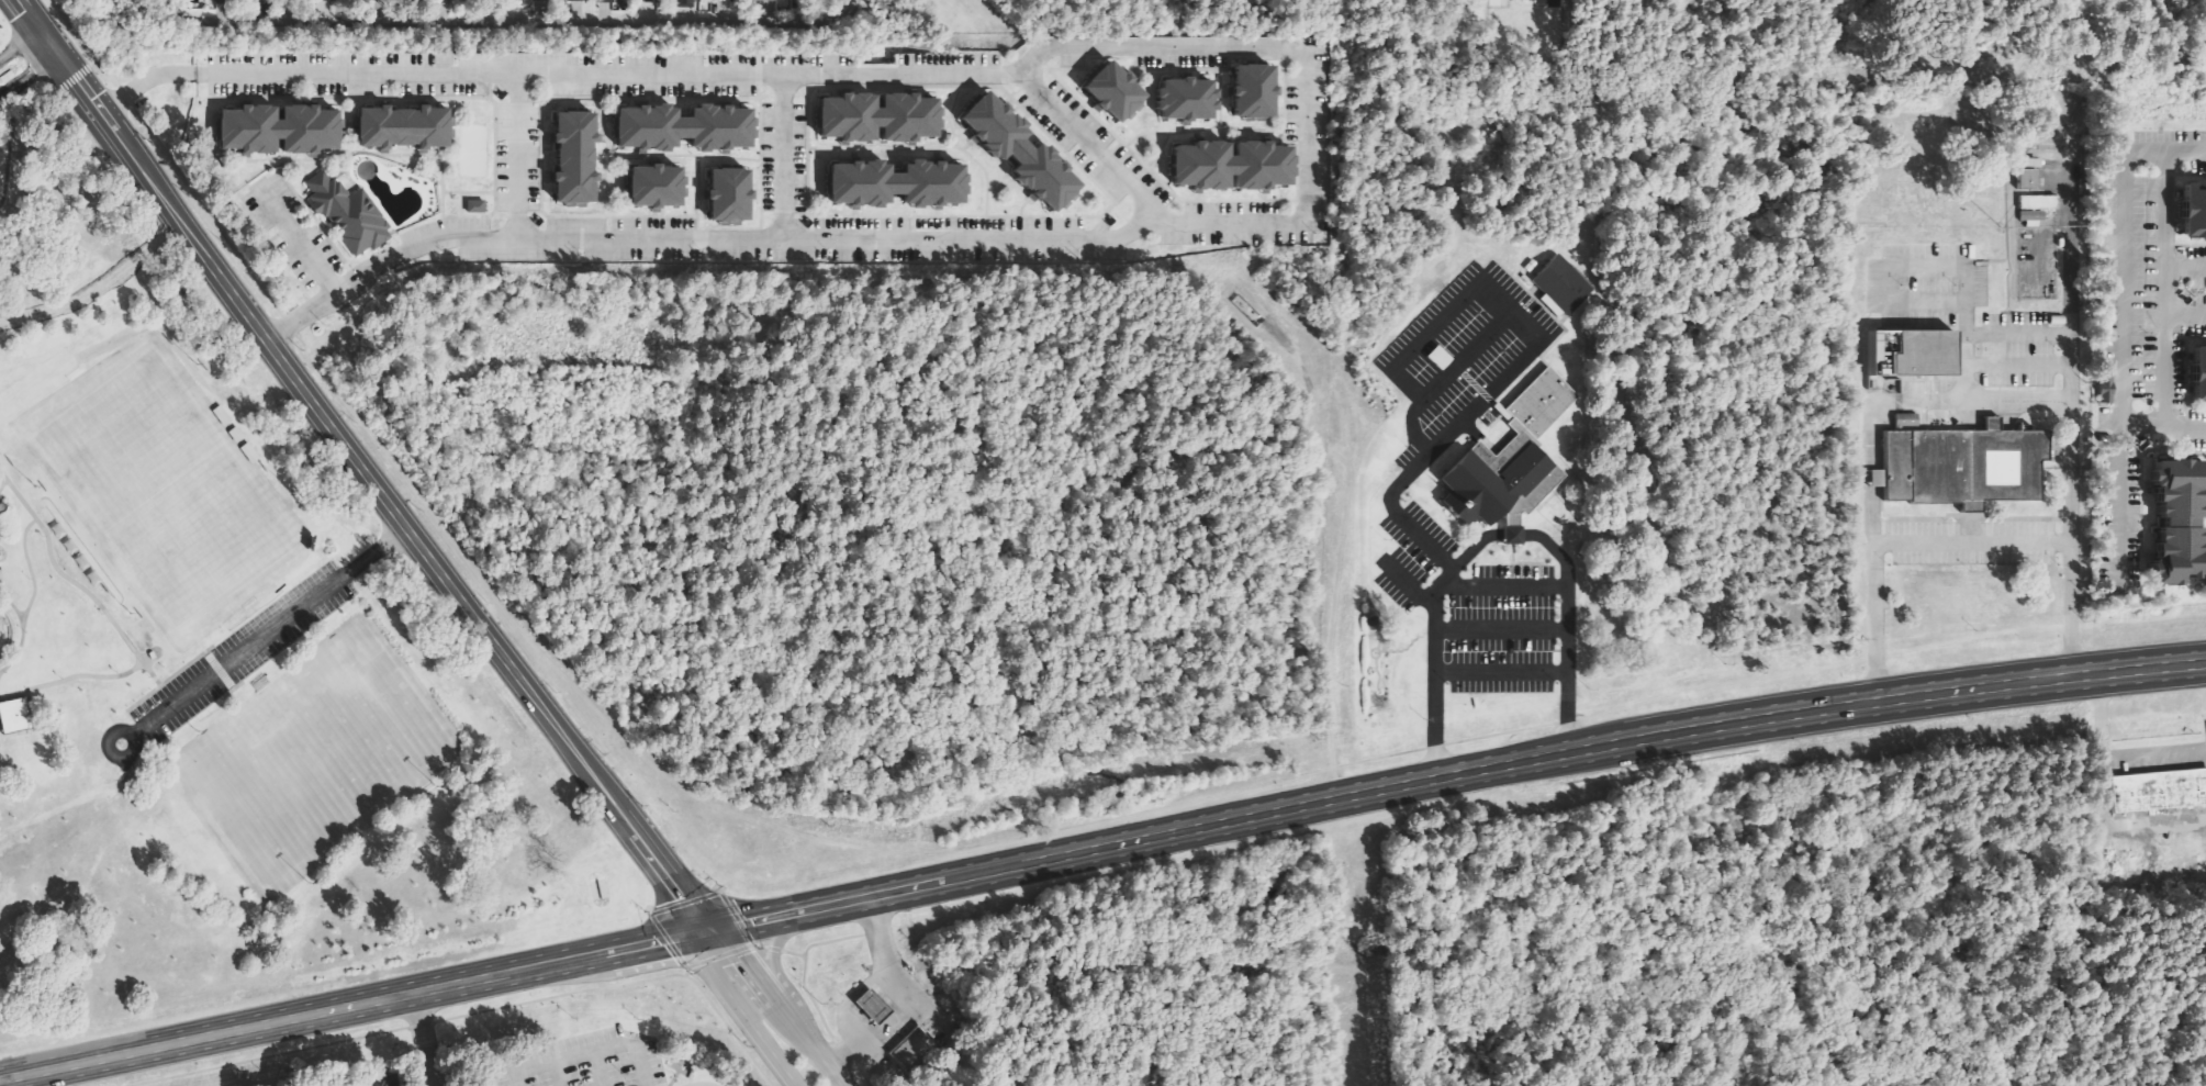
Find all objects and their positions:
building: (219, 0)
building: (332, 0)
building: (534, 0)
building: (579, 0)
building: (652, 0)
building: (607, 1)
building: (687, 3)
traffic signals: (26, 12)
road: (508, 22)
road: (20, 43)
parking lot: (1143, 51)
parking lot: (873, 69)
road: (105, 72)
road: (1010, 72)
road: (29, 74)
parking lot: (625, 74)
traffic signals: (29, 75)
parking lot: (344, 75)
road: (70, 79)
road: (141, 81)
road: (30, 87)
building: (1108, 91)
building: (1248, 91)
traffic signals: (91, 99)
building: (1180, 100)
building: (874, 117)
building: (399, 128)
building: (681, 128)
building: (273, 131)
parking lot: (1306, 134)
parking lot: (1090, 148)
building: (1015, 153)
road: (514, 156)
parking lot: (514, 157)
road: (780, 157)
building: (569, 158)
parking lot: (780, 158)
building: (2033, 164)
building: (1227, 167)
building: (2029, 180)
building: (893, 183)
building: (650, 188)
building: (724, 195)
building: (477, 206)
building: (2037, 209)
building: (2196, 210)
building: (344, 215)
helipad: (1927, 222)
parking lot: (1227, 226)
parking lot: (287, 231)
road: (292, 238)
road: (753, 238)
parking lot: (469, 240)
parking lot: (641, 240)
parking lot: (942, 240)
building: (1564, 287)
road: (2157, 289)
road: (310, 309)
building: (1908, 355)
building: (2199, 372)
building: (2106, 390)
road: (2070, 396)
road: (1457, 423)
building: (1513, 463)
building: (1962, 463)
road: (1872, 467)
road: (365, 473)
road: (0, 481)
park: (160, 486)
building: (0, 507)
building: (2181, 523)
road: (1491, 537)
road: (1959, 540)
road: (71, 584)
road: (30, 595)
road: (11, 608)
road: (267, 631)
parking lot: (237, 653)
road: (67, 678)
building: (13, 715)
road: (110, 757)
park: (312, 760)
building: (2154, 790)
road: (1098, 848)
road: (710, 894)
traffic signals: (683, 909)
traffic signals: (730, 926)
traffic signals: (673, 938)
road: (664, 940)
traffic signals: (710, 945)
road: (757, 947)
road: (770, 950)
road: (788, 954)
road: (716, 956)
road: (769, 960)
road: (682, 973)
road: (805, 996)
road: (907, 999)
building: (865, 1007)
gas station: (865, 1007)
road: (781, 1009)
road: (464, 1015)
road: (743, 1019)
road: (421, 1040)
building: (909, 1050)
road: (7, 1082)
building: (389, 1082)

